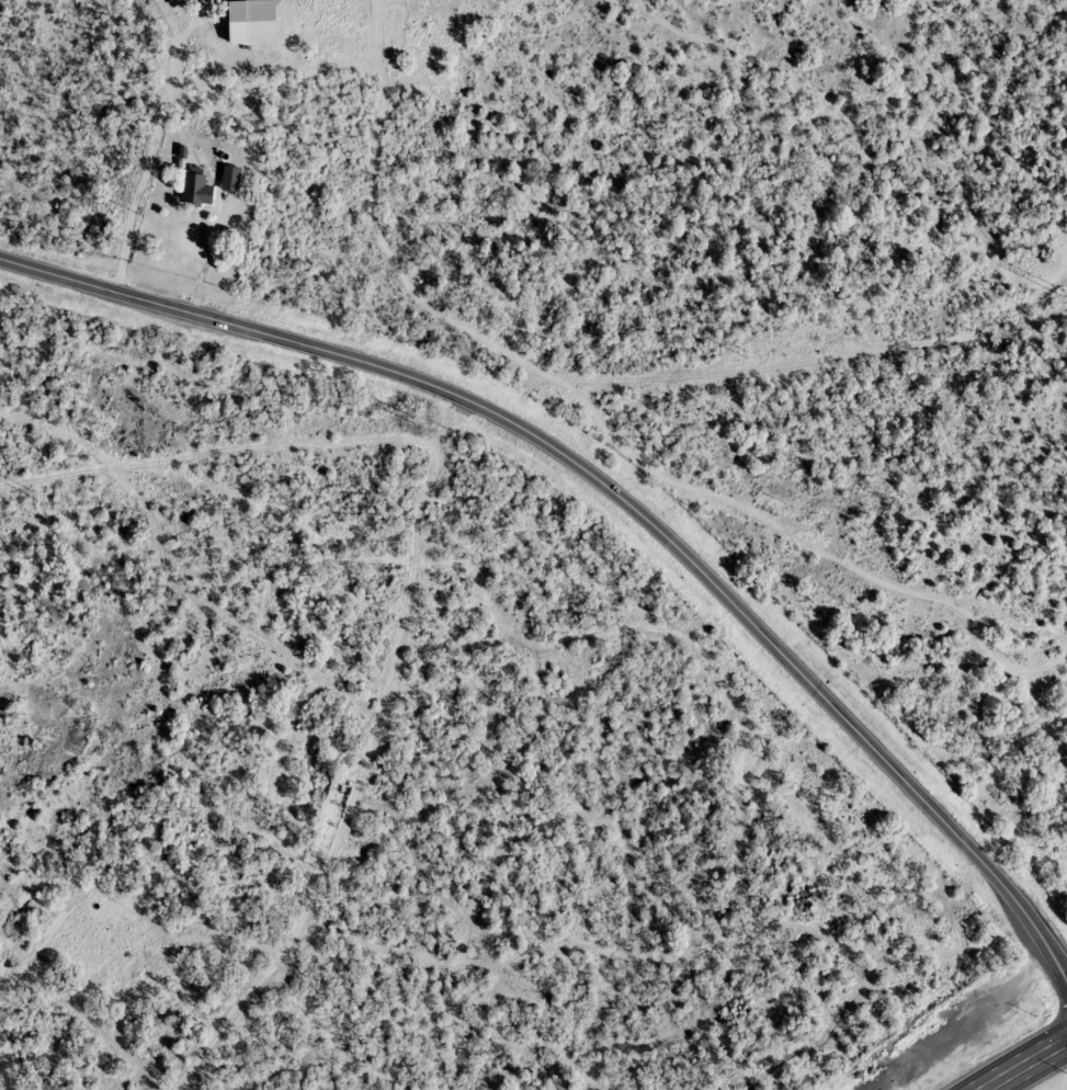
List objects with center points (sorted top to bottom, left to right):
road: (222, 13)
building: (242, 41)
road: (157, 134)
building: (230, 178)
building: (196, 188)
power tower: (1059, 288)
power tower: (746, 353)
power tower: (412, 419)
power tower: (32, 491)
road: (617, 496)
road: (1066, 1037)
road: (1018, 1061)

